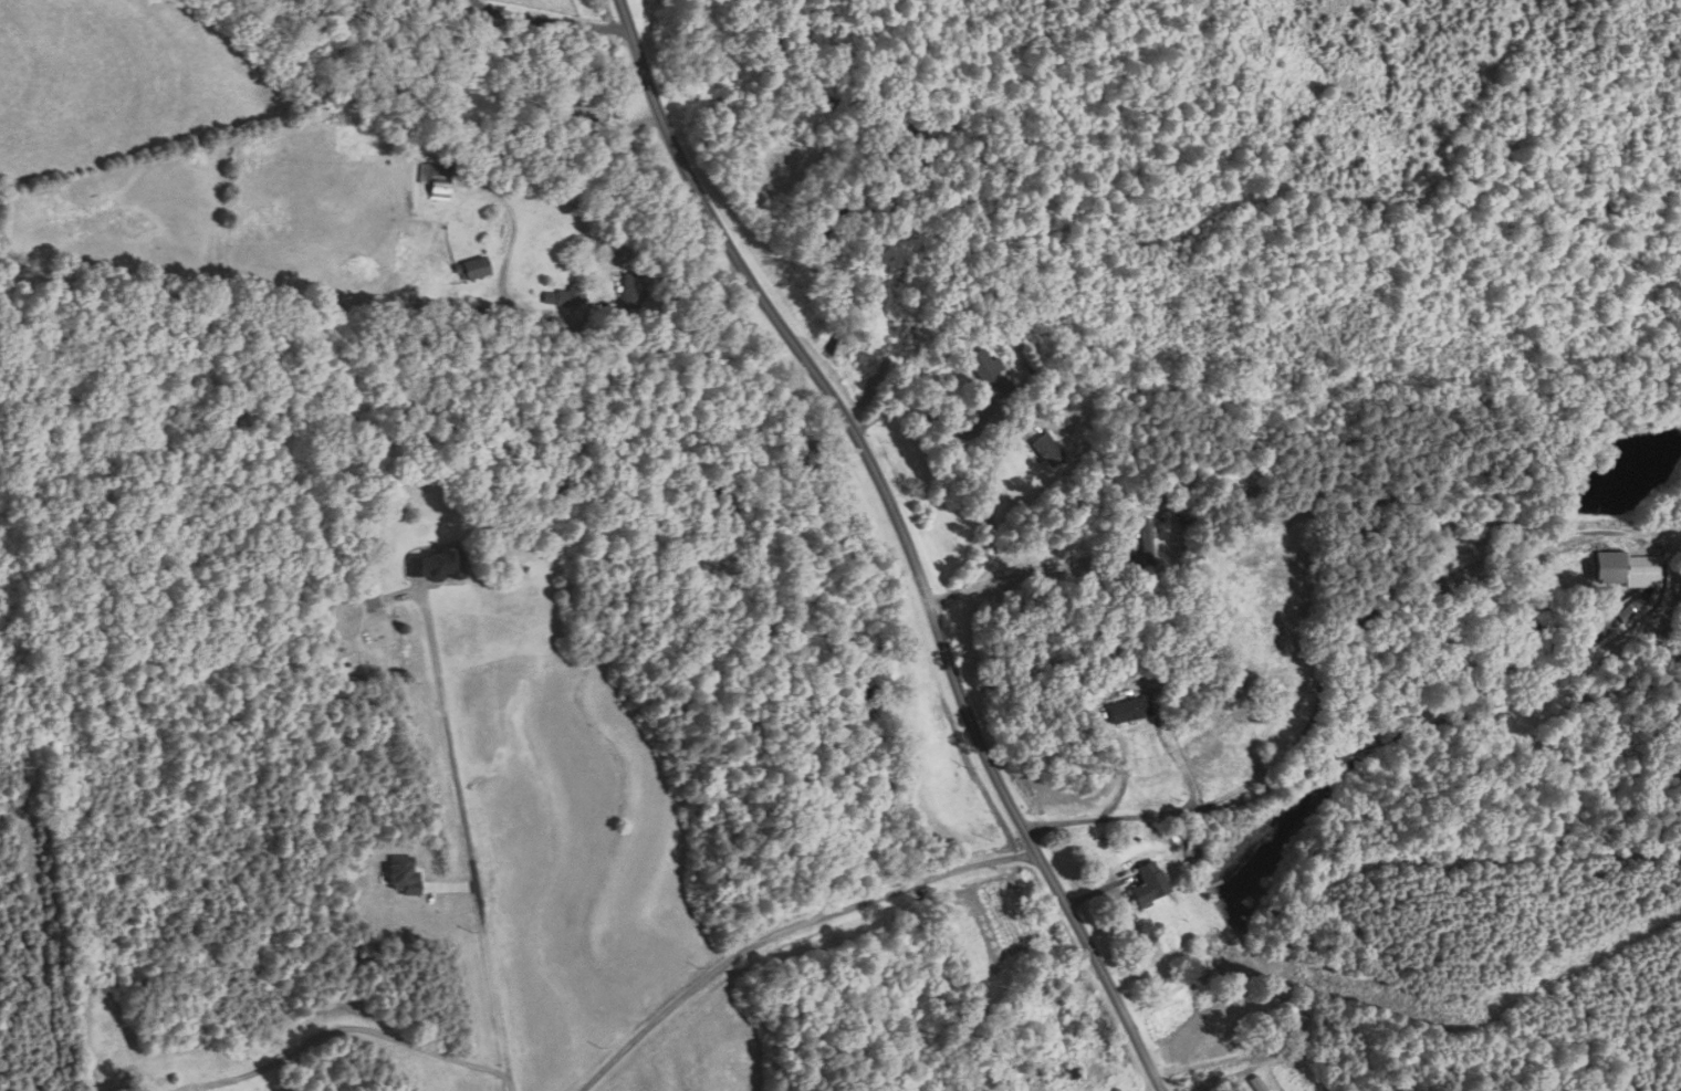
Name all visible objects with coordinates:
road: (551, 19)
building: (588, 112)
building: (439, 180)
building: (480, 269)
building: (636, 291)
building: (570, 297)
road: (574, 325)
building: (984, 368)
road: (933, 418)
building: (1046, 449)
road: (989, 527)
road: (905, 537)
building: (1147, 544)
building: (439, 564)
road: (1034, 565)
building: (1628, 568)
building: (1126, 709)
building: (1675, 743)
road: (1126, 772)
road: (1159, 812)
road: (468, 838)
building: (1148, 883)
road: (789, 931)
road: (345, 1027)
building: (1295, 1031)
building: (1067, 1073)
building: (1257, 1083)

